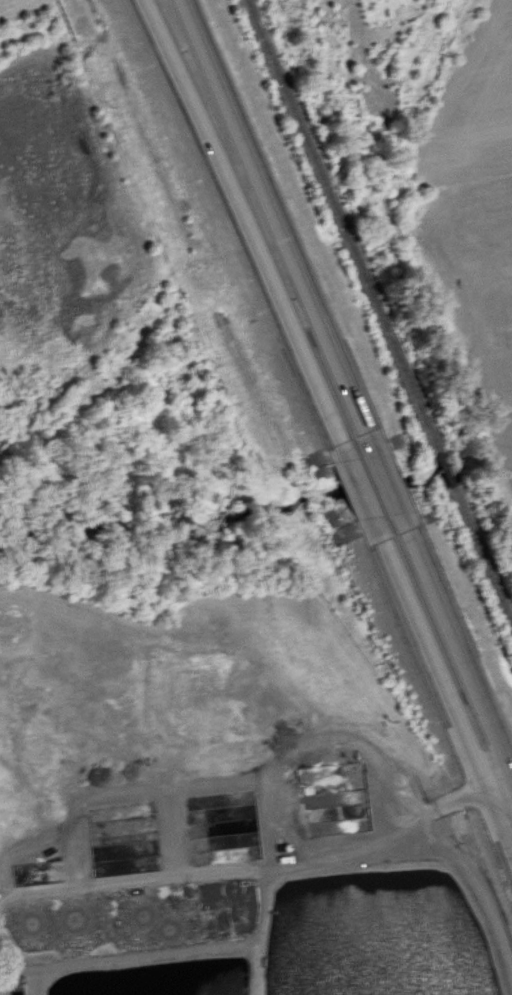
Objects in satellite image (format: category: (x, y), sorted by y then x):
road: (273, 214)
road: (241, 219)
railway: (379, 315)
road: (383, 480)
road: (360, 488)
road: (458, 657)
road: (448, 699)
road: (263, 863)
road: (477, 884)

